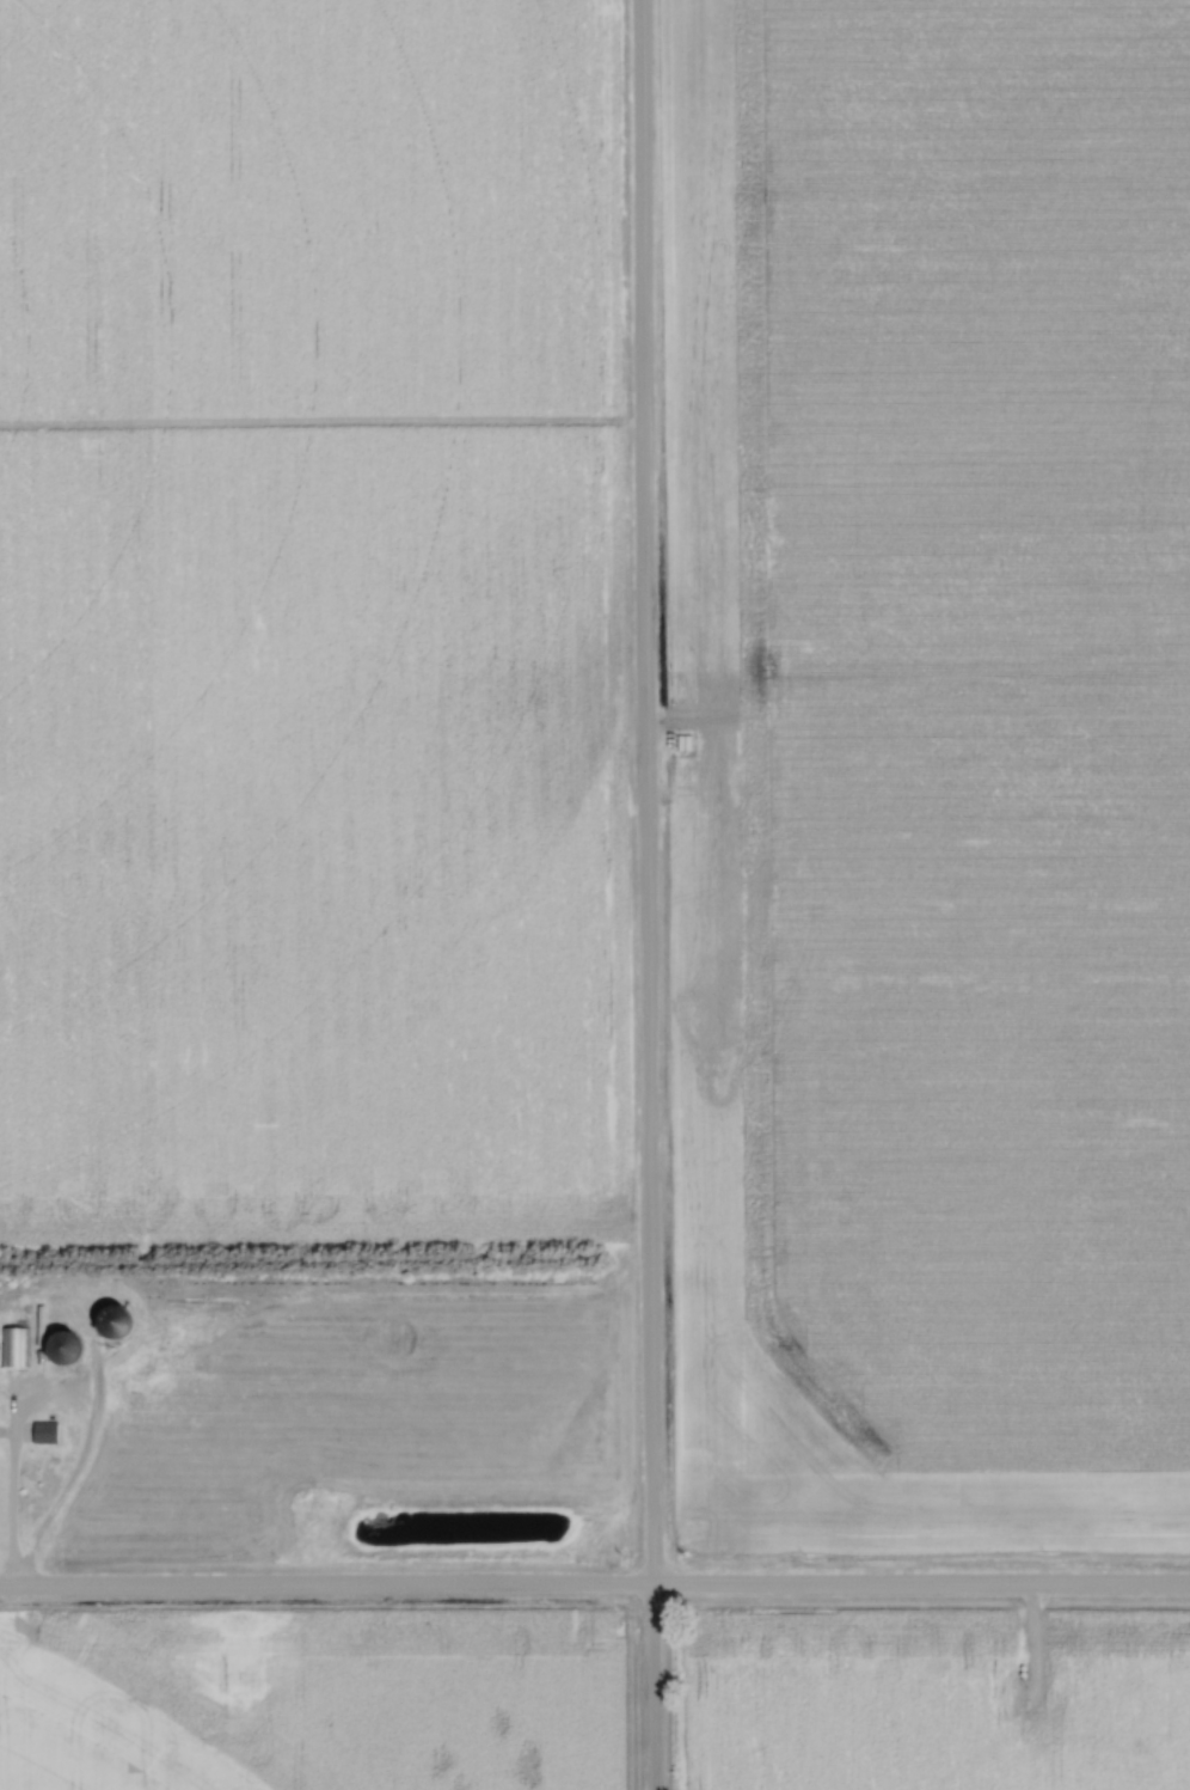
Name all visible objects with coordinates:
road: (644, 894)
building: (14, 1346)
building: (65, 1346)
building: (45, 1431)
road: (10, 1497)
road: (595, 1588)

